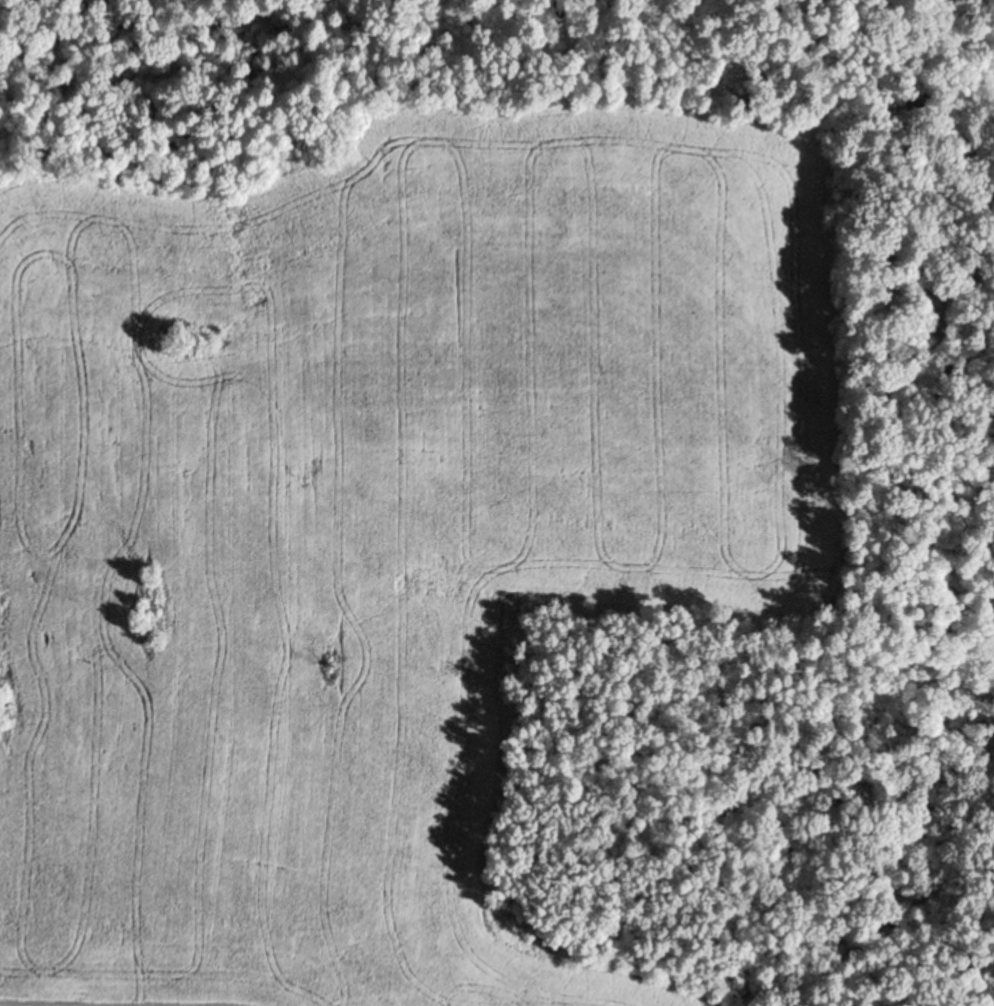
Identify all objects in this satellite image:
road: (48, 1004)

